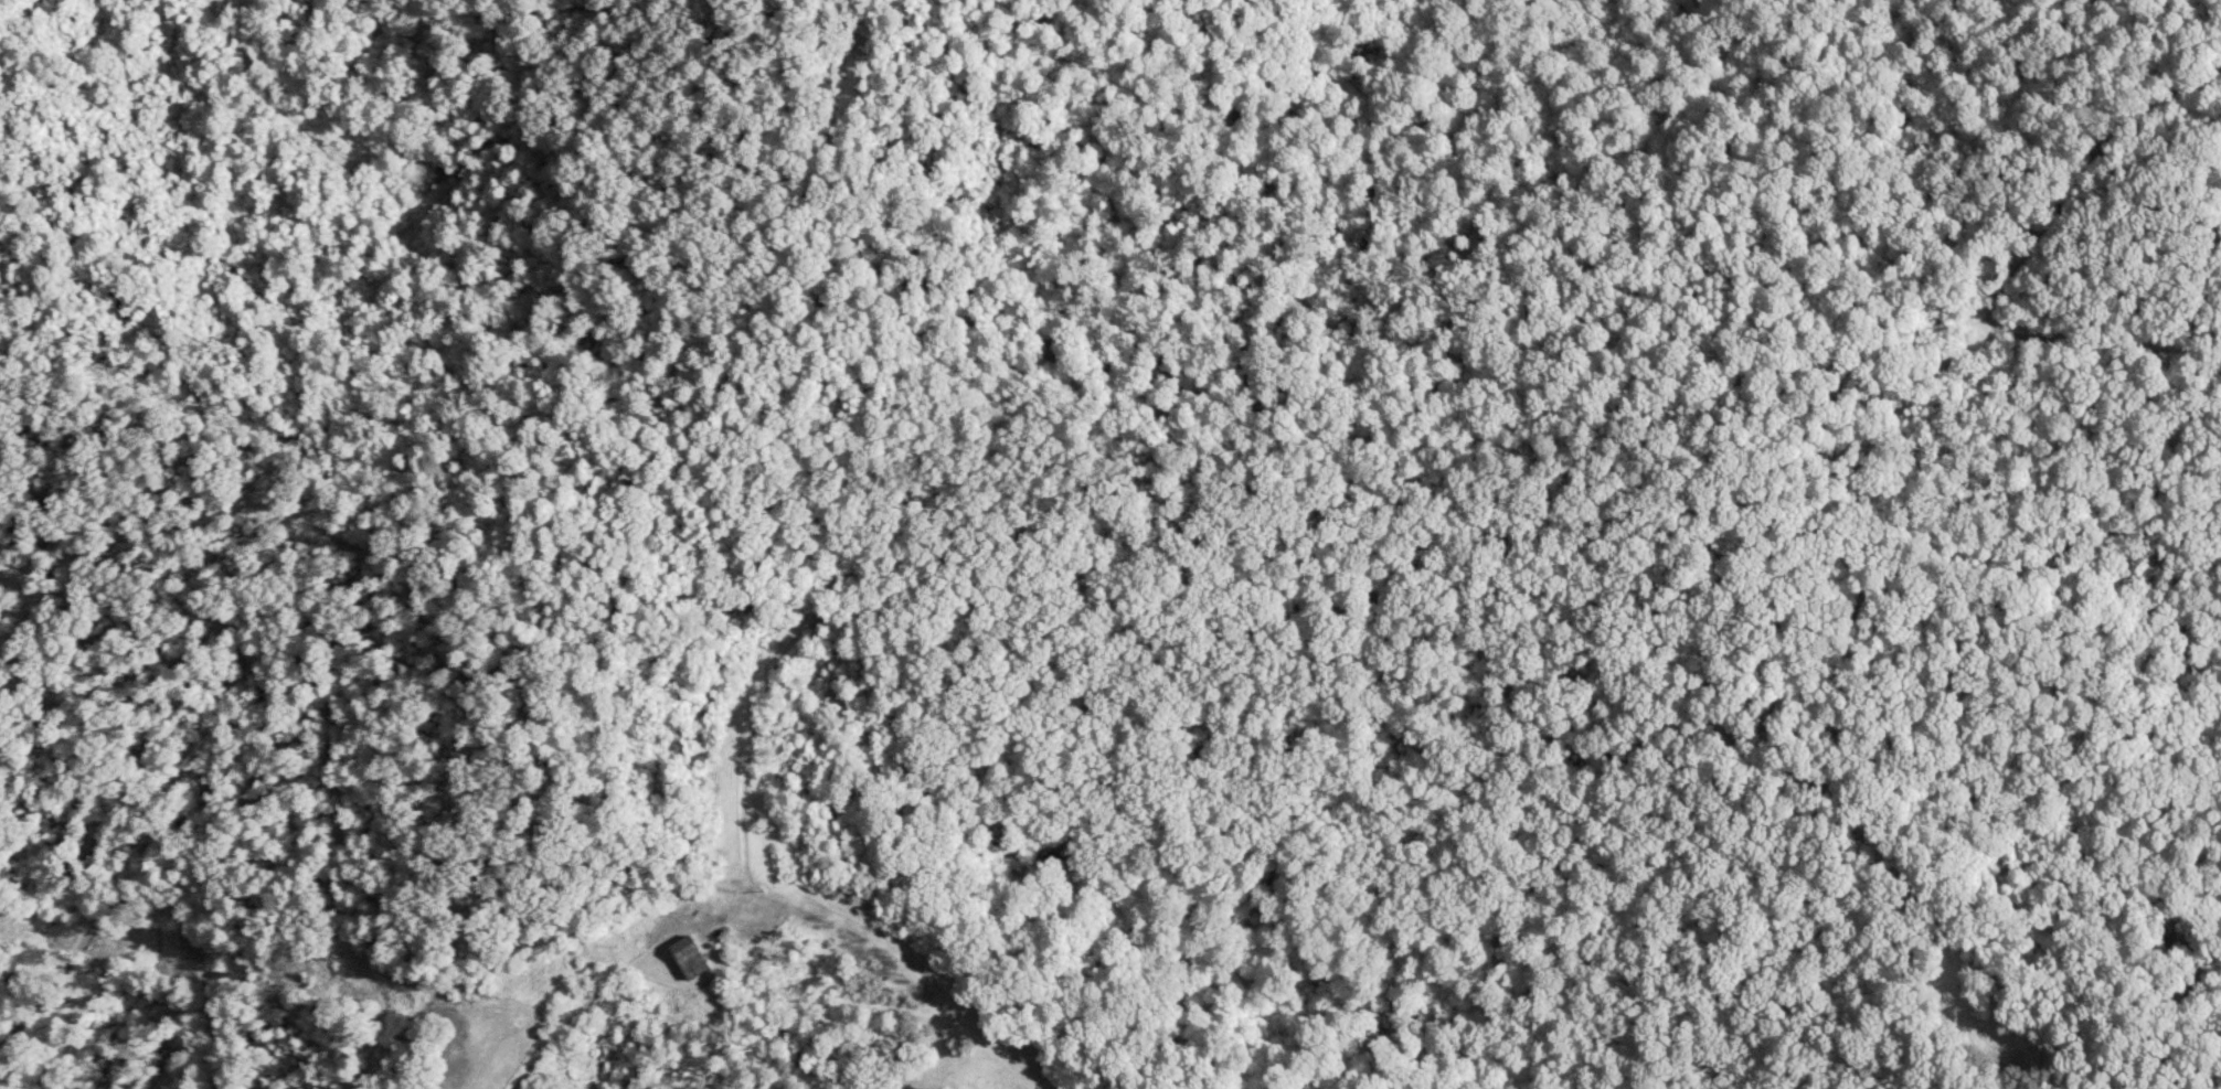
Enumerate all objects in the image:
road: (234, 125)
road: (149, 923)
building: (682, 960)
road: (582, 1016)
road: (793, 1033)

